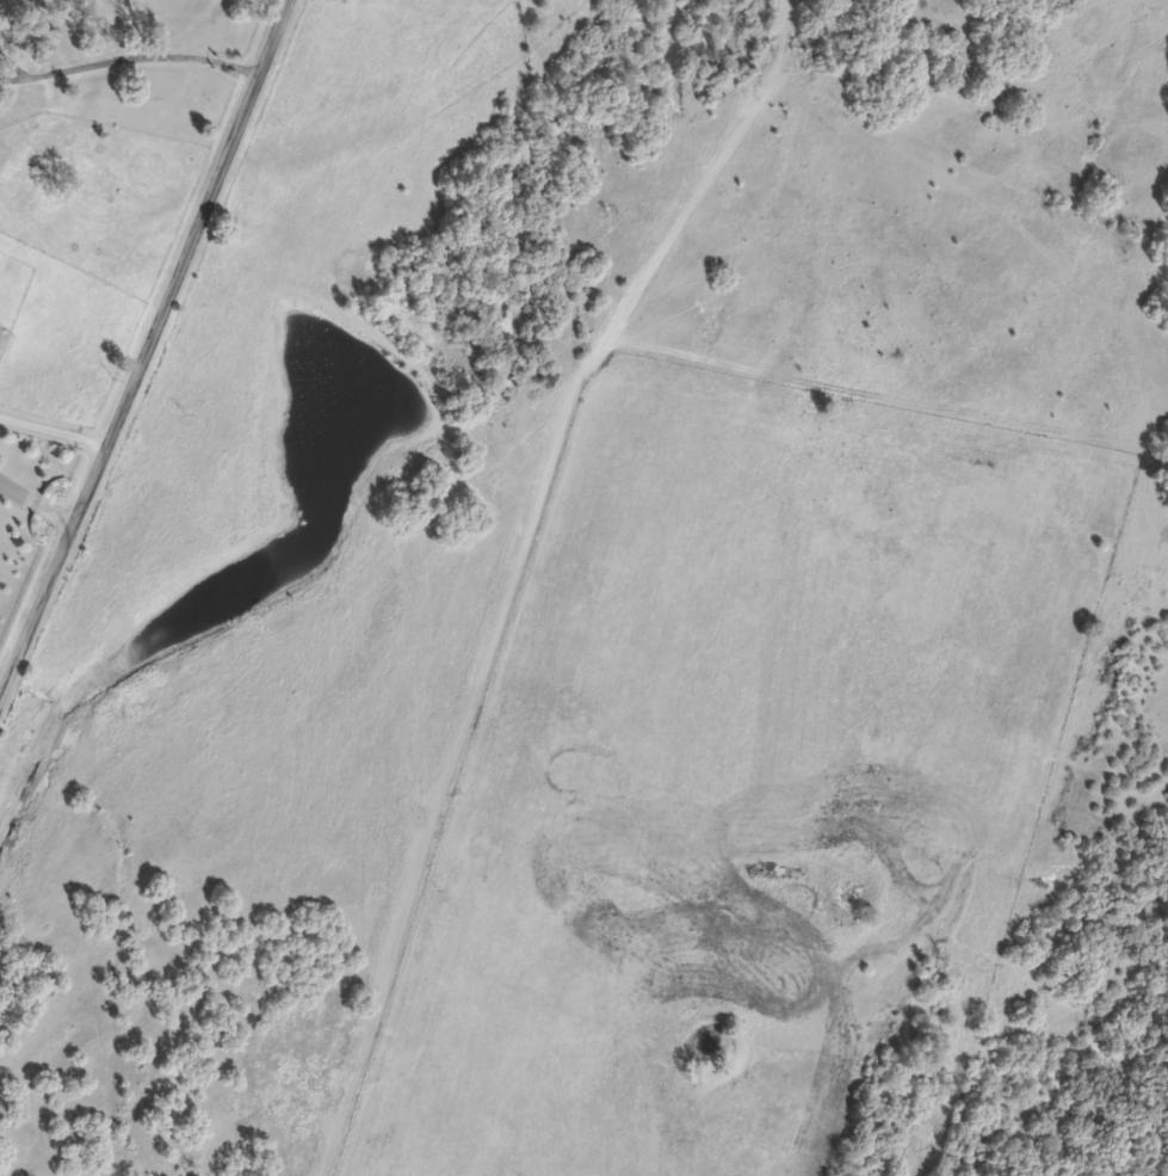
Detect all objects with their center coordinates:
road: (126, 59)
road: (150, 349)
road: (52, 431)
road: (35, 503)

